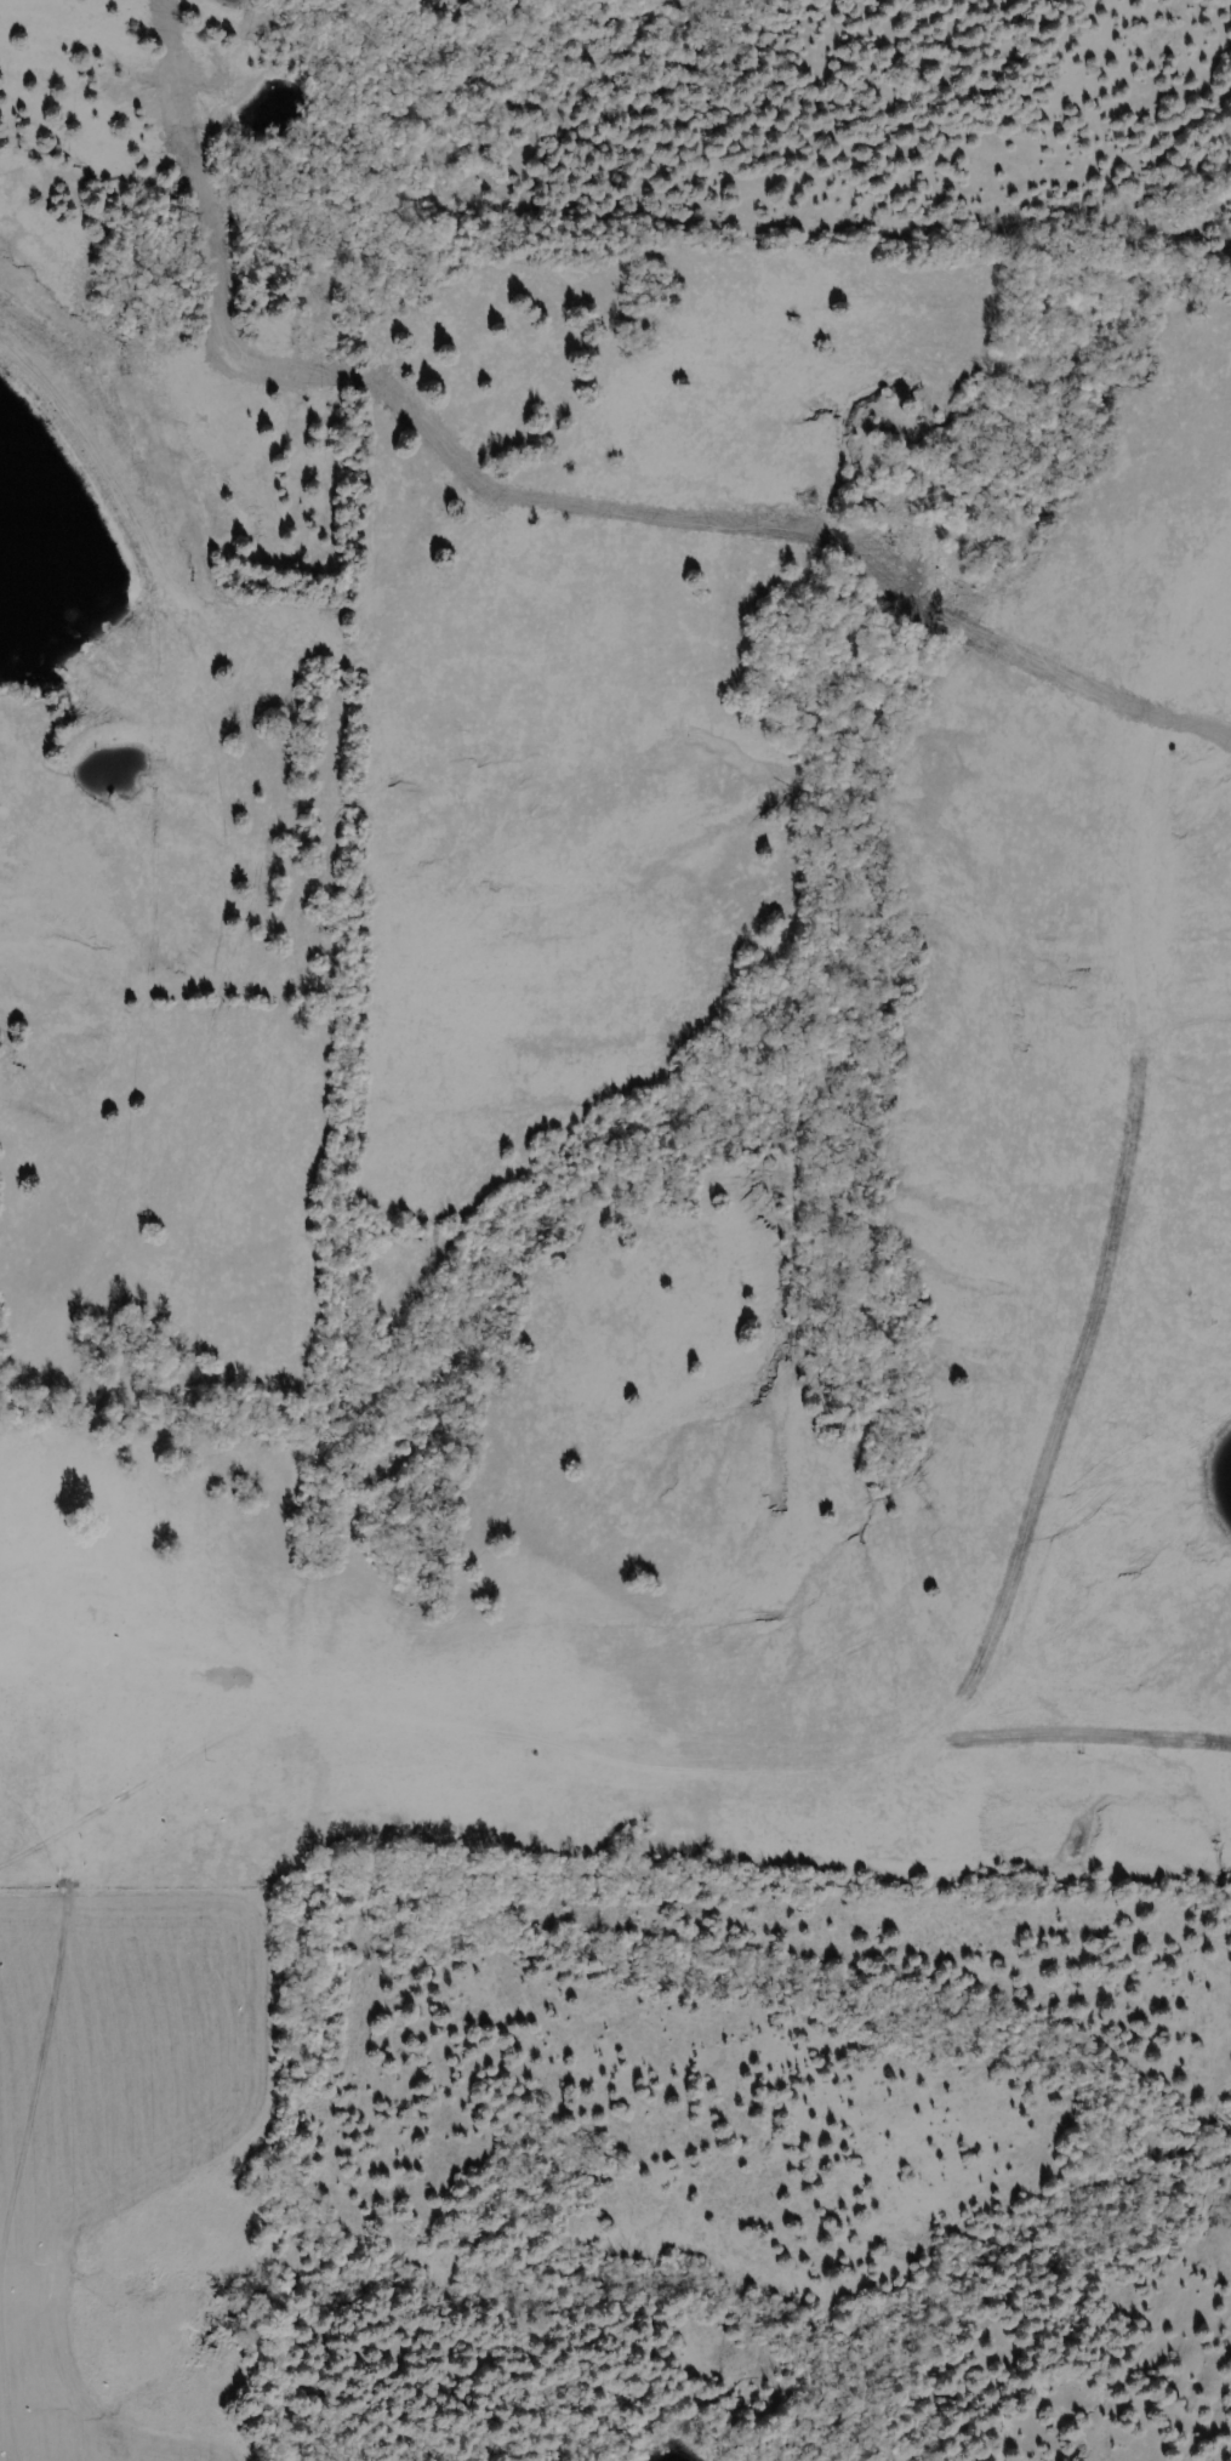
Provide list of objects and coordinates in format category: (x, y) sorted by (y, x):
road: (312, 1996)

